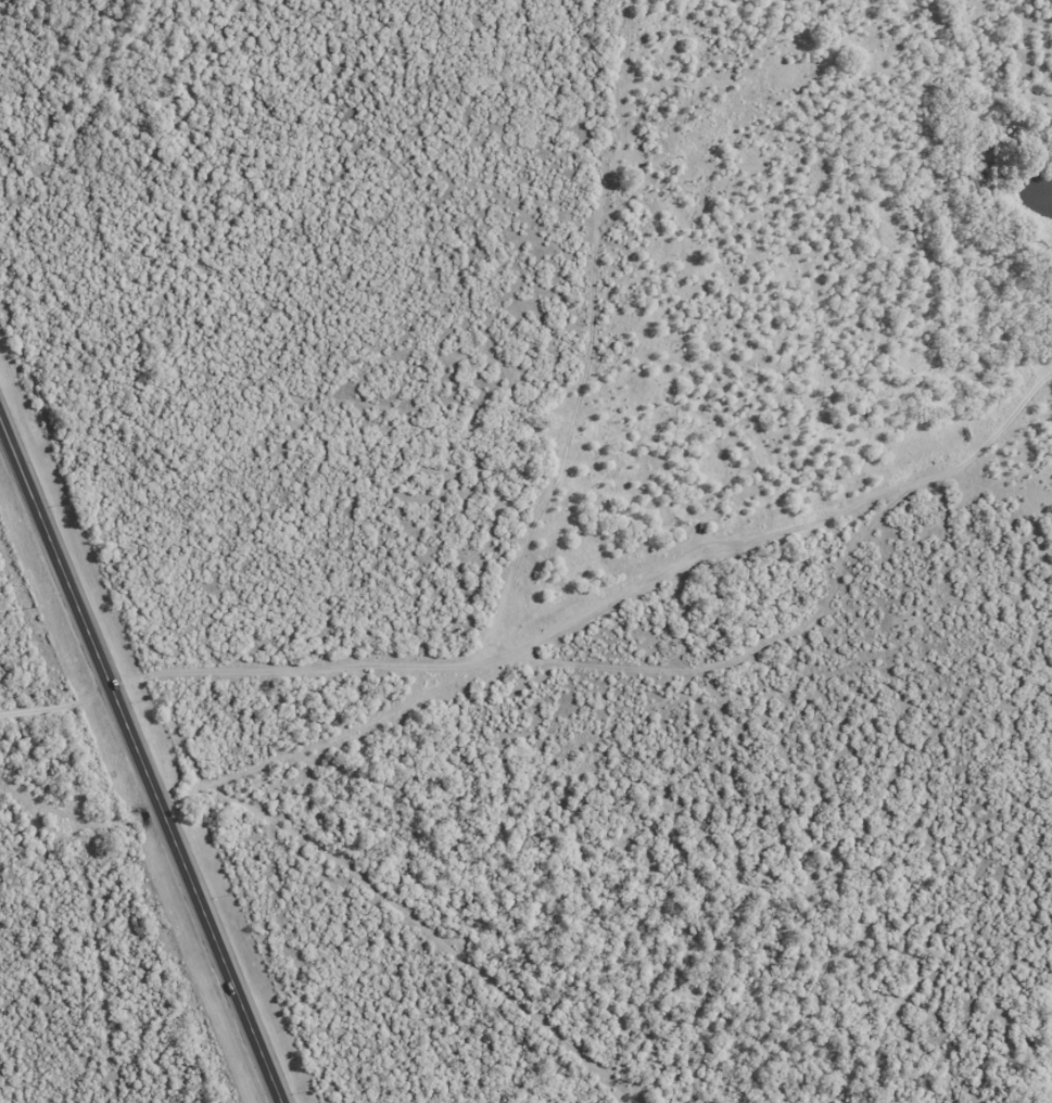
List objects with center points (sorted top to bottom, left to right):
power tower: (29, 606)
road: (58, 705)
road: (141, 757)
power tower: (155, 904)

